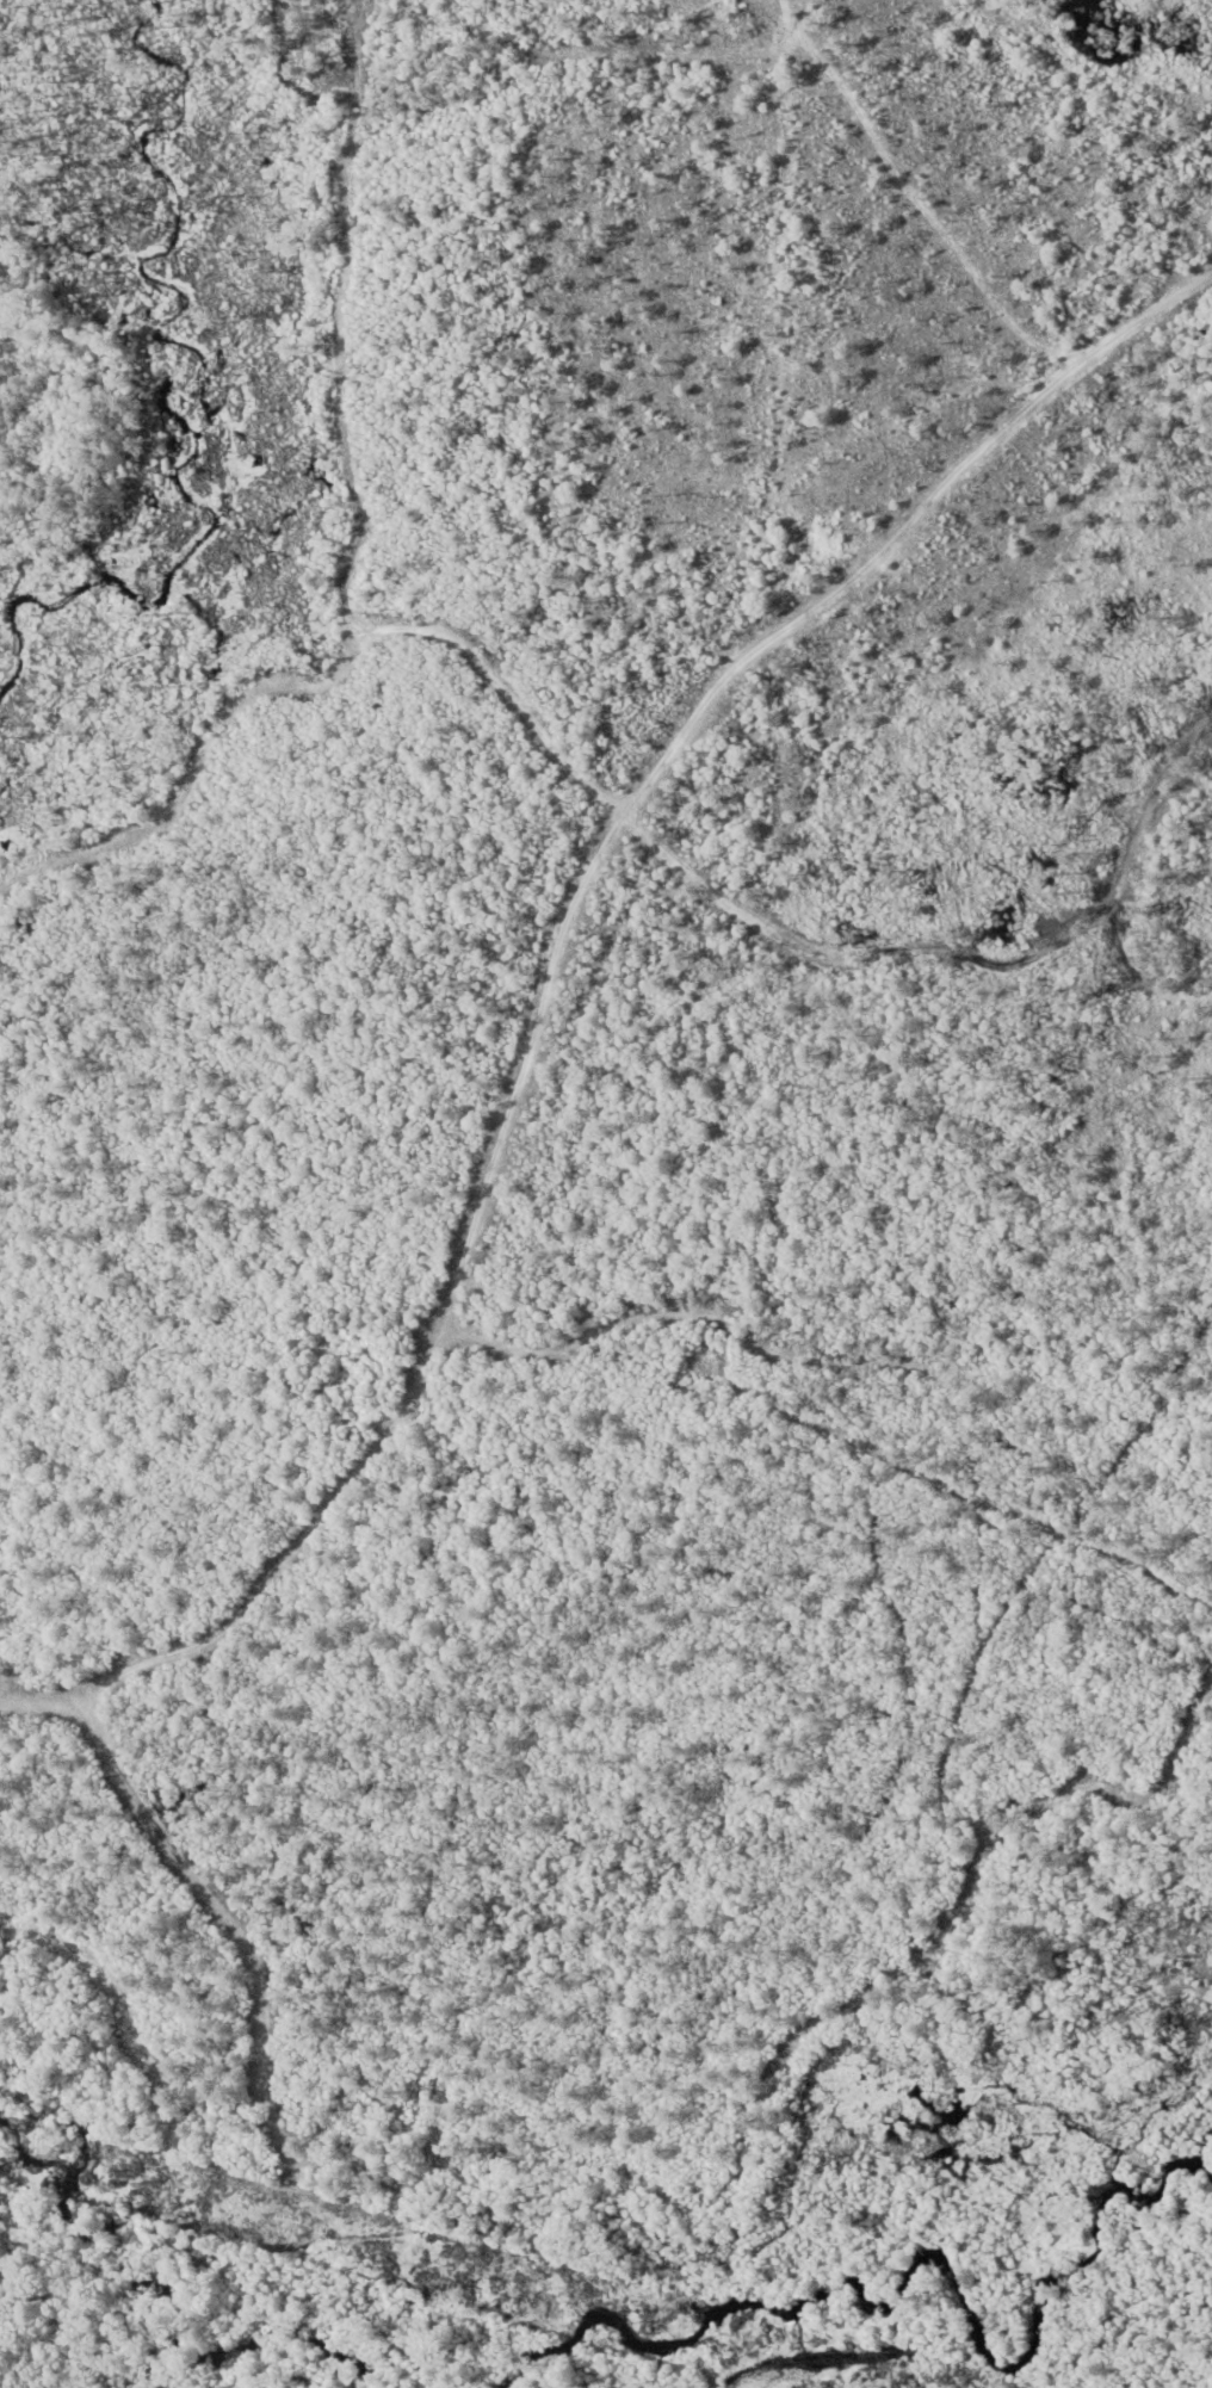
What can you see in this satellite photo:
power tower: (119, 2173)
power tower: (639, 2318)

